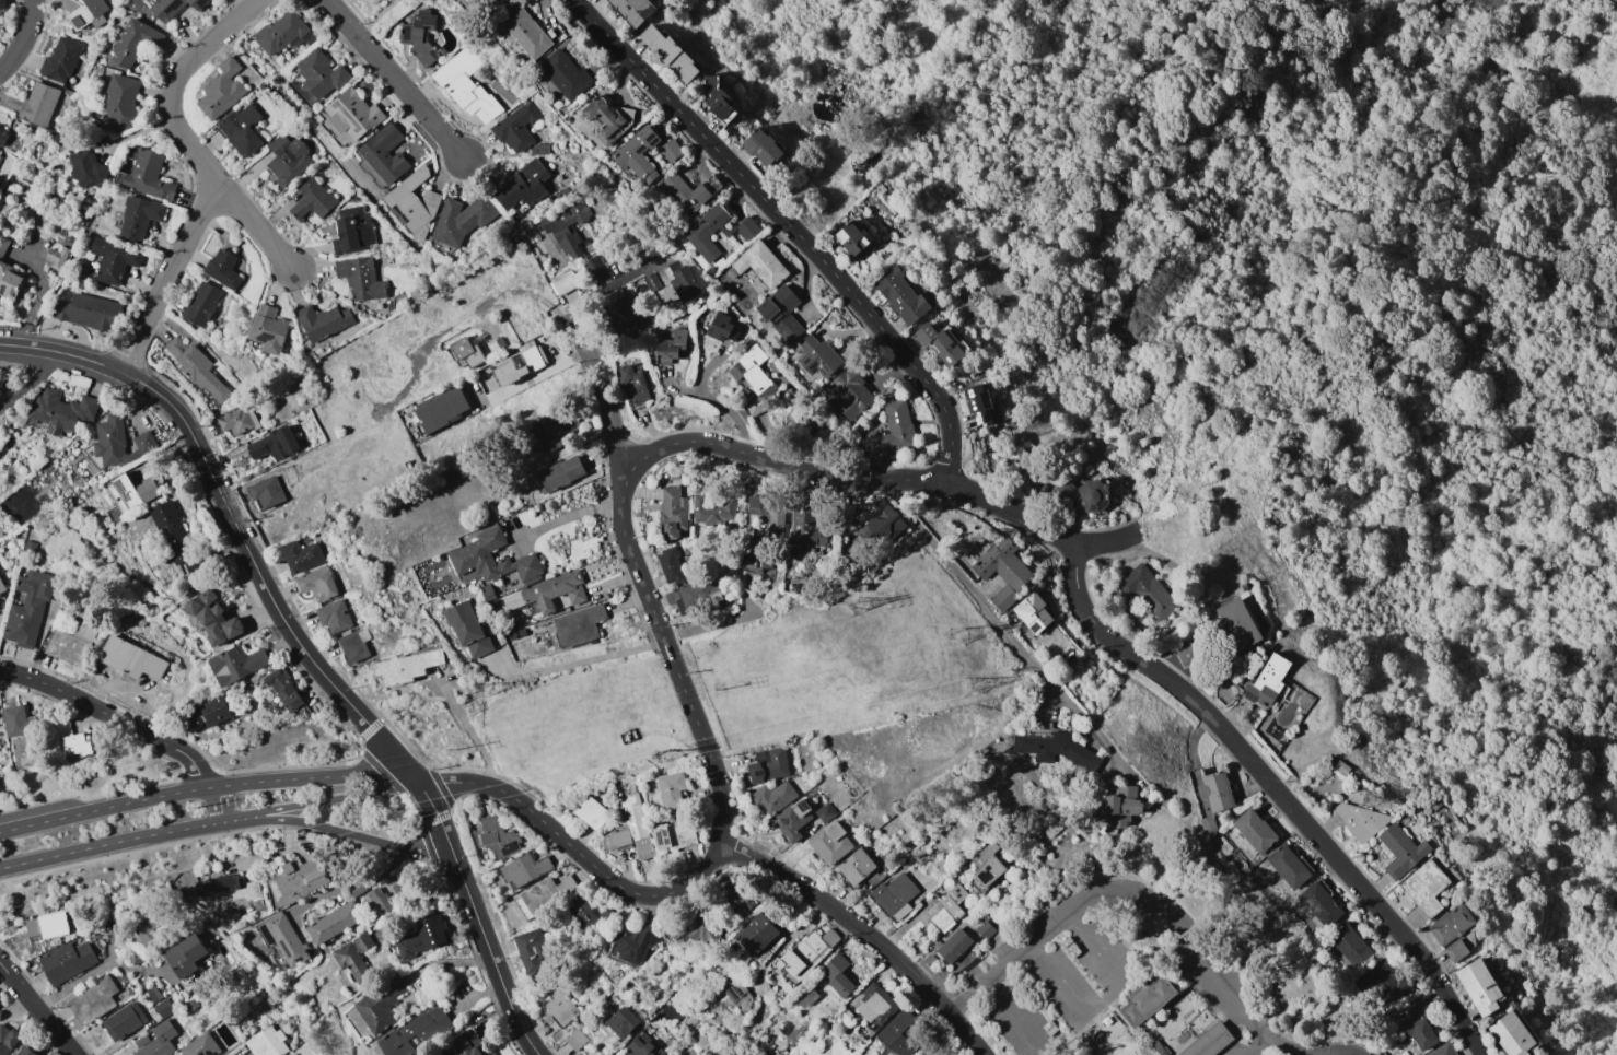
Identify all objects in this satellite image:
building: (373, 0)
building: (376, 0)
building: (492, 4)
building: (2, 5)
building: (174, 7)
building: (635, 10)
building: (88, 14)
building: (525, 32)
building: (283, 34)
building: (420, 36)
road: (25, 38)
building: (130, 44)
road: (1160, 52)
building: (671, 54)
building: (60, 60)
building: (321, 73)
building: (565, 74)
road: (398, 79)
building: (466, 84)
building: (221, 89)
building: (121, 95)
building: (719, 98)
building: (38, 104)
building: (608, 114)
building: (349, 117)
building: (515, 127)
building: (241, 129)
building: (2, 137)
building: (58, 137)
building: (763, 148)
building: (539, 149)
building: (671, 150)
building: (637, 155)
building: (383, 156)
building: (288, 160)
building: (89, 169)
road: (216, 174)
building: (147, 175)
building: (524, 187)
building: (689, 191)
building: (313, 199)
building: (416, 202)
building: (138, 216)
building: (462, 220)
road: (791, 224)
road: (261, 228)
building: (568, 228)
building: (353, 232)
building: (697, 233)
building: (854, 238)
building: (3, 245)
building: (57, 256)
building: (113, 259)
building: (760, 263)
building: (223, 268)
building: (594, 268)
building: (731, 272)
building: (361, 279)
building: (683, 280)
building: (10, 281)
building: (652, 281)
building: (561, 282)
building: (82, 285)
road: (604, 286)
road: (512, 294)
building: (904, 295)
building: (200, 304)
building: (88, 312)
building: (624, 312)
building: (781, 312)
building: (324, 323)
building: (720, 325)
building: (269, 329)
building: (942, 343)
building: (668, 347)
building: (459, 348)
building: (817, 355)
building: (533, 359)
building: (196, 368)
building: (754, 372)
road: (31, 382)
building: (635, 384)
road: (675, 388)
building: (848, 391)
road: (711, 400)
road: (602, 403)
building: (978, 405)
building: (440, 409)
building: (59, 411)
building: (792, 421)
building: (235, 422)
power tower: (1037, 426)
building: (557, 430)
building: (889, 432)
building: (118, 442)
building: (275, 444)
road: (790, 467)
building: (559, 474)
building: (673, 474)
building: (266, 492)
building: (130, 494)
building: (1084, 494)
building: (755, 504)
building: (712, 511)
building: (672, 513)
road: (570, 515)
building: (776, 517)
building: (874, 524)
building: (806, 528)
building: (0, 535)
building: (175, 538)
building: (28, 547)
building: (301, 555)
building: (469, 555)
building: (759, 563)
building: (671, 565)
building: (1002, 572)
building: (317, 583)
building: (2, 586)
building: (487, 593)
building: (554, 593)
building: (1148, 594)
building: (694, 595)
building: (27, 608)
power tower: (854, 608)
building: (1032, 613)
building: (334, 616)
road: (992, 616)
building: (137, 617)
building: (214, 618)
building: (1237, 623)
building: (578, 625)
building: (466, 629)
power tower: (954, 636)
building: (70, 644)
building: (354, 645)
road: (305, 654)
building: (1186, 654)
building: (129, 658)
road: (577, 661)
building: (236, 665)
building: (407, 667)
building: (1266, 683)
building: (283, 688)
power tower: (973, 688)
power tower: (481, 690)
power tower: (720, 690)
building: (208, 713)
building: (19, 722)
road: (130, 726)
road: (469, 730)
road: (1232, 737)
building: (72, 741)
building: (1056, 748)
power tower: (452, 750)
power tower: (667, 754)
building: (768, 766)
building: (1341, 766)
power tower: (1433, 773)
power tower: (1432, 774)
road: (207, 787)
building: (1214, 790)
building: (671, 793)
building: (772, 797)
power tower: (1366, 799)
power tower: (197, 808)
building: (1117, 810)
building: (592, 812)
building: (825, 812)
power tower: (397, 816)
building: (794, 818)
building: (1359, 820)
road: (728, 822)
road: (209, 824)
building: (1208, 824)
building: (630, 829)
building: (1254, 832)
road: (353, 834)
building: (674, 834)
building: (496, 837)
building: (830, 842)
building: (1401, 849)
building: (984, 854)
building: (857, 867)
building: (1288, 867)
building: (523, 870)
building: (988, 874)
building: (295, 881)
road: (346, 884)
building: (1426, 886)
road: (1114, 888)
building: (229, 889)
building: (358, 890)
building: (738, 893)
building: (956, 893)
building: (896, 895)
building: (544, 896)
building: (388, 899)
building: (1321, 902)
building: (951, 906)
building: (106, 911)
building: (588, 916)
building: (942, 919)
building: (334, 922)
building: (149, 923)
building: (43, 925)
building: (1453, 925)
building: (674, 928)
building: (707, 928)
building: (985, 930)
building: (757, 934)
road: (870, 935)
building: (422, 937)
building: (283, 939)
building: (635, 942)
building: (1350, 945)
building: (954, 946)
road: (1090, 948)
building: (531, 949)
building: (1456, 950)
building: (807, 953)
building: (187, 956)
building: (354, 958)
building: (67, 961)
road: (763, 972)
road: (86, 975)
building: (838, 975)
building: (236, 978)
road: (1055, 978)
building: (1380, 978)
building: (1479, 985)
building: (735, 990)
building: (93, 999)
building: (1147, 1000)
building: (159, 1003)
building: (560, 1004)
building: (191, 1005)
building: (380, 1005)
building: (875, 1006)
road: (37, 1010)
road: (1012, 1012)
building: (124, 1020)
building: (621, 1021)
building: (1417, 1024)
building: (416, 1033)
building: (903, 1033)
building: (1511, 1034)
building: (9, 1040)
building: (156, 1040)
building: (702, 1040)
building: (573, 1041)
building: (1209, 1041)
building: (267, 1043)
road: (1281, 1044)
building: (201, 1046)
road: (1254, 1046)
building: (464, 1047)
building: (1159, 1047)
building: (640, 1048)
road: (1312, 1048)
building: (937, 1050)
building: (1443, 1050)
building: (27, 1052)
road: (1339, 1052)
building: (742, 1054)

